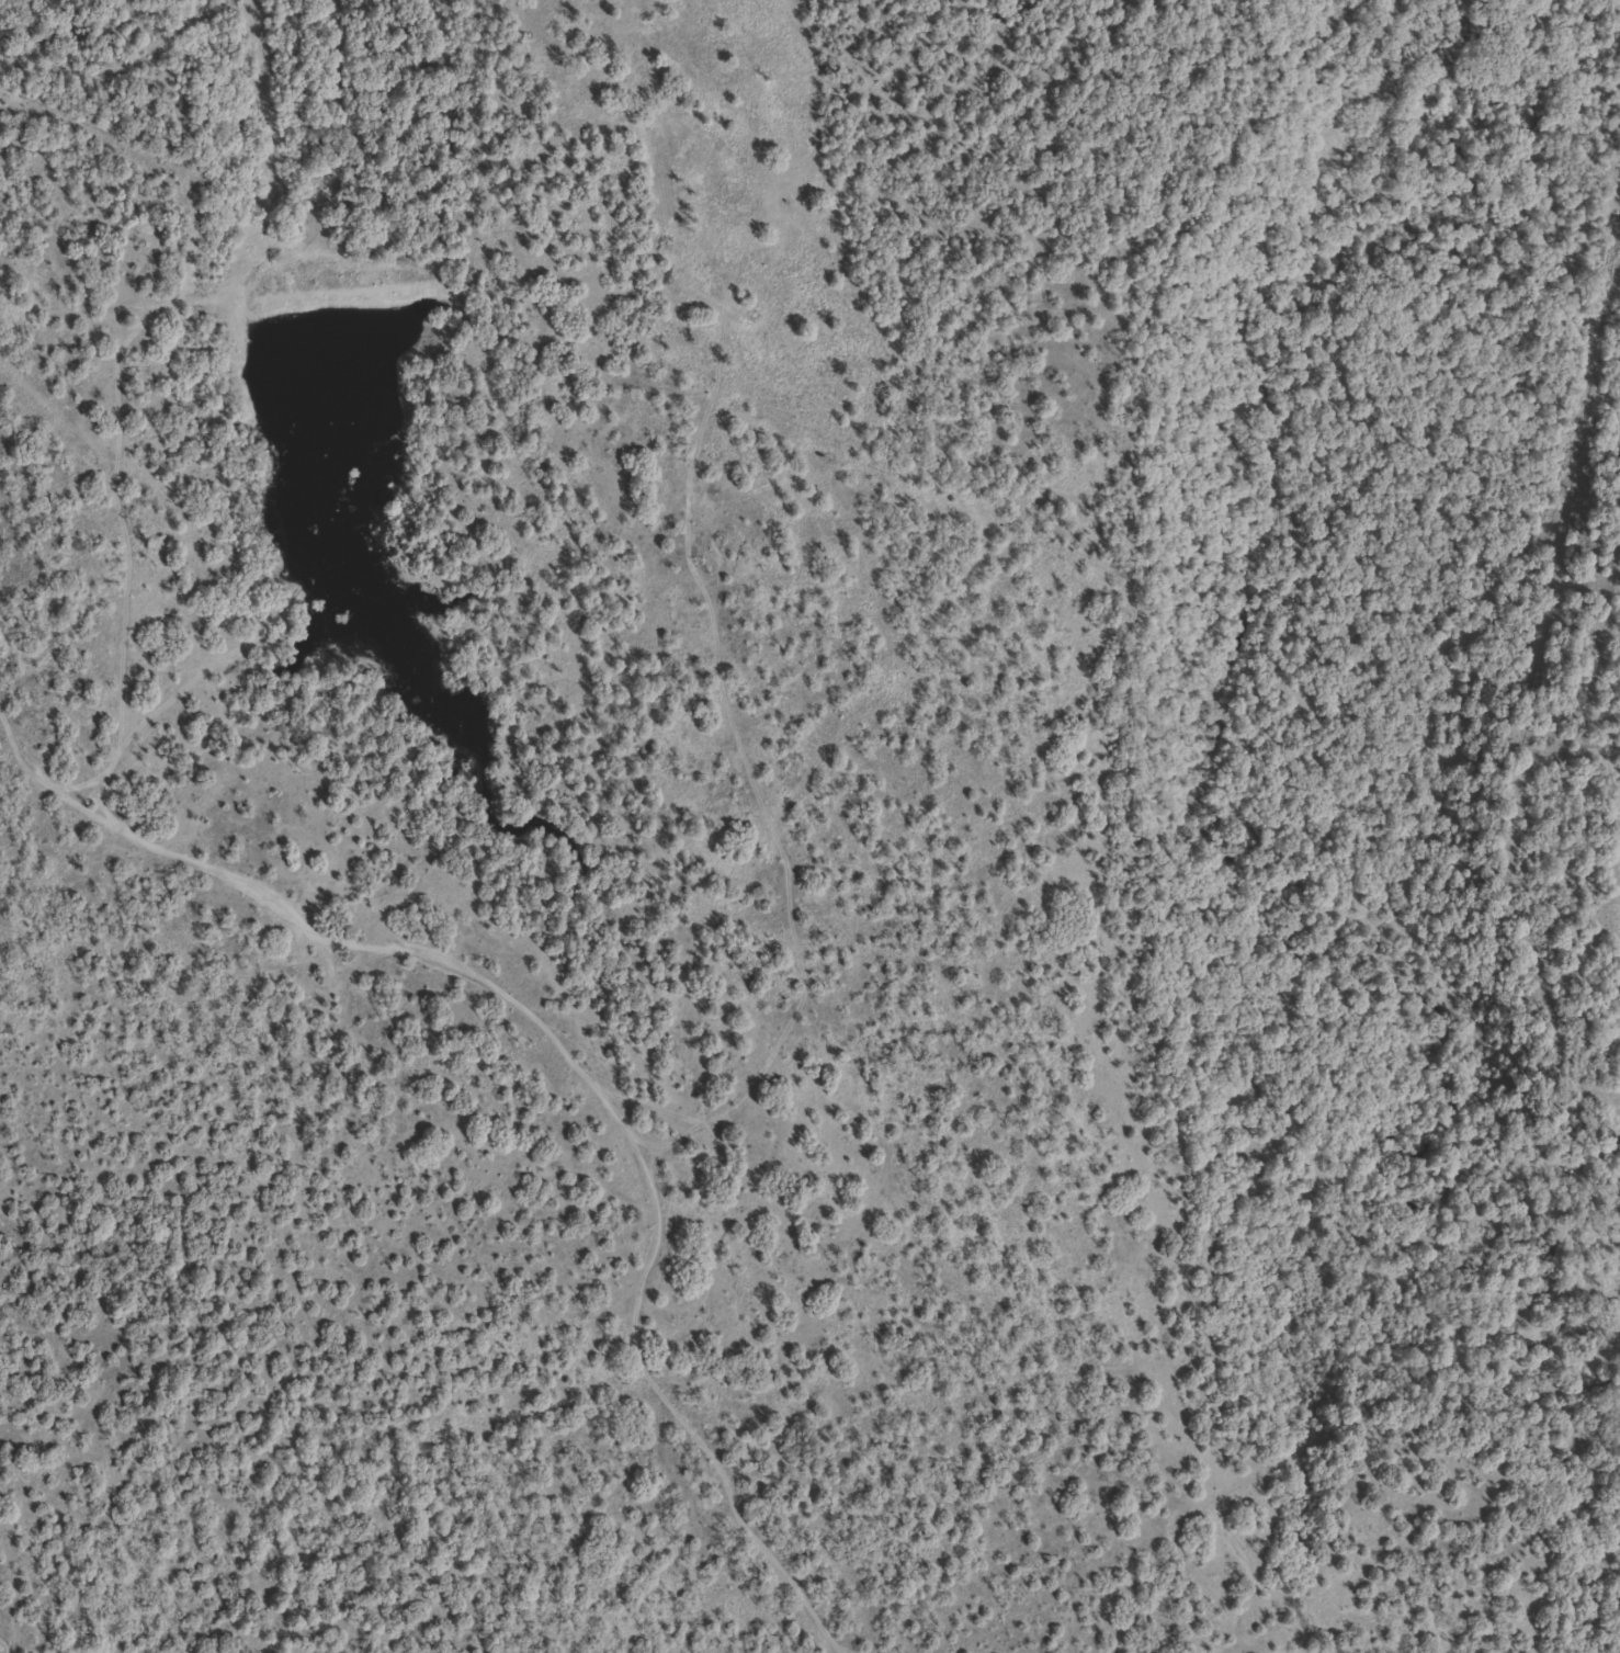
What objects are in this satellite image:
road: (580, 1058)

